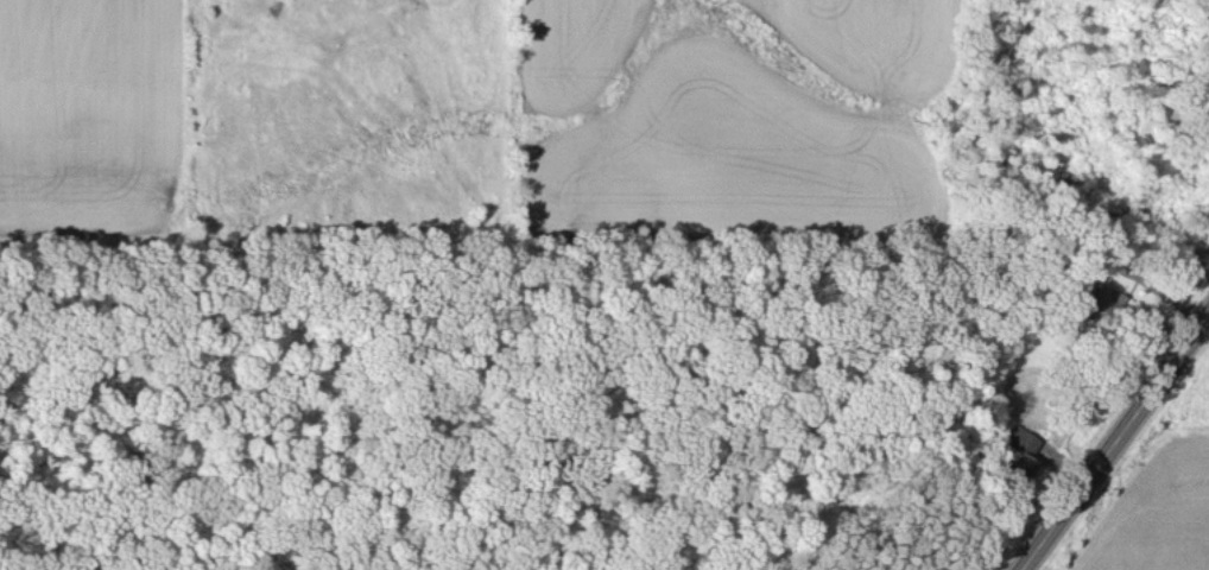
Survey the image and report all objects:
building: (1099, 303)
road: (1116, 444)
building: (1018, 454)

